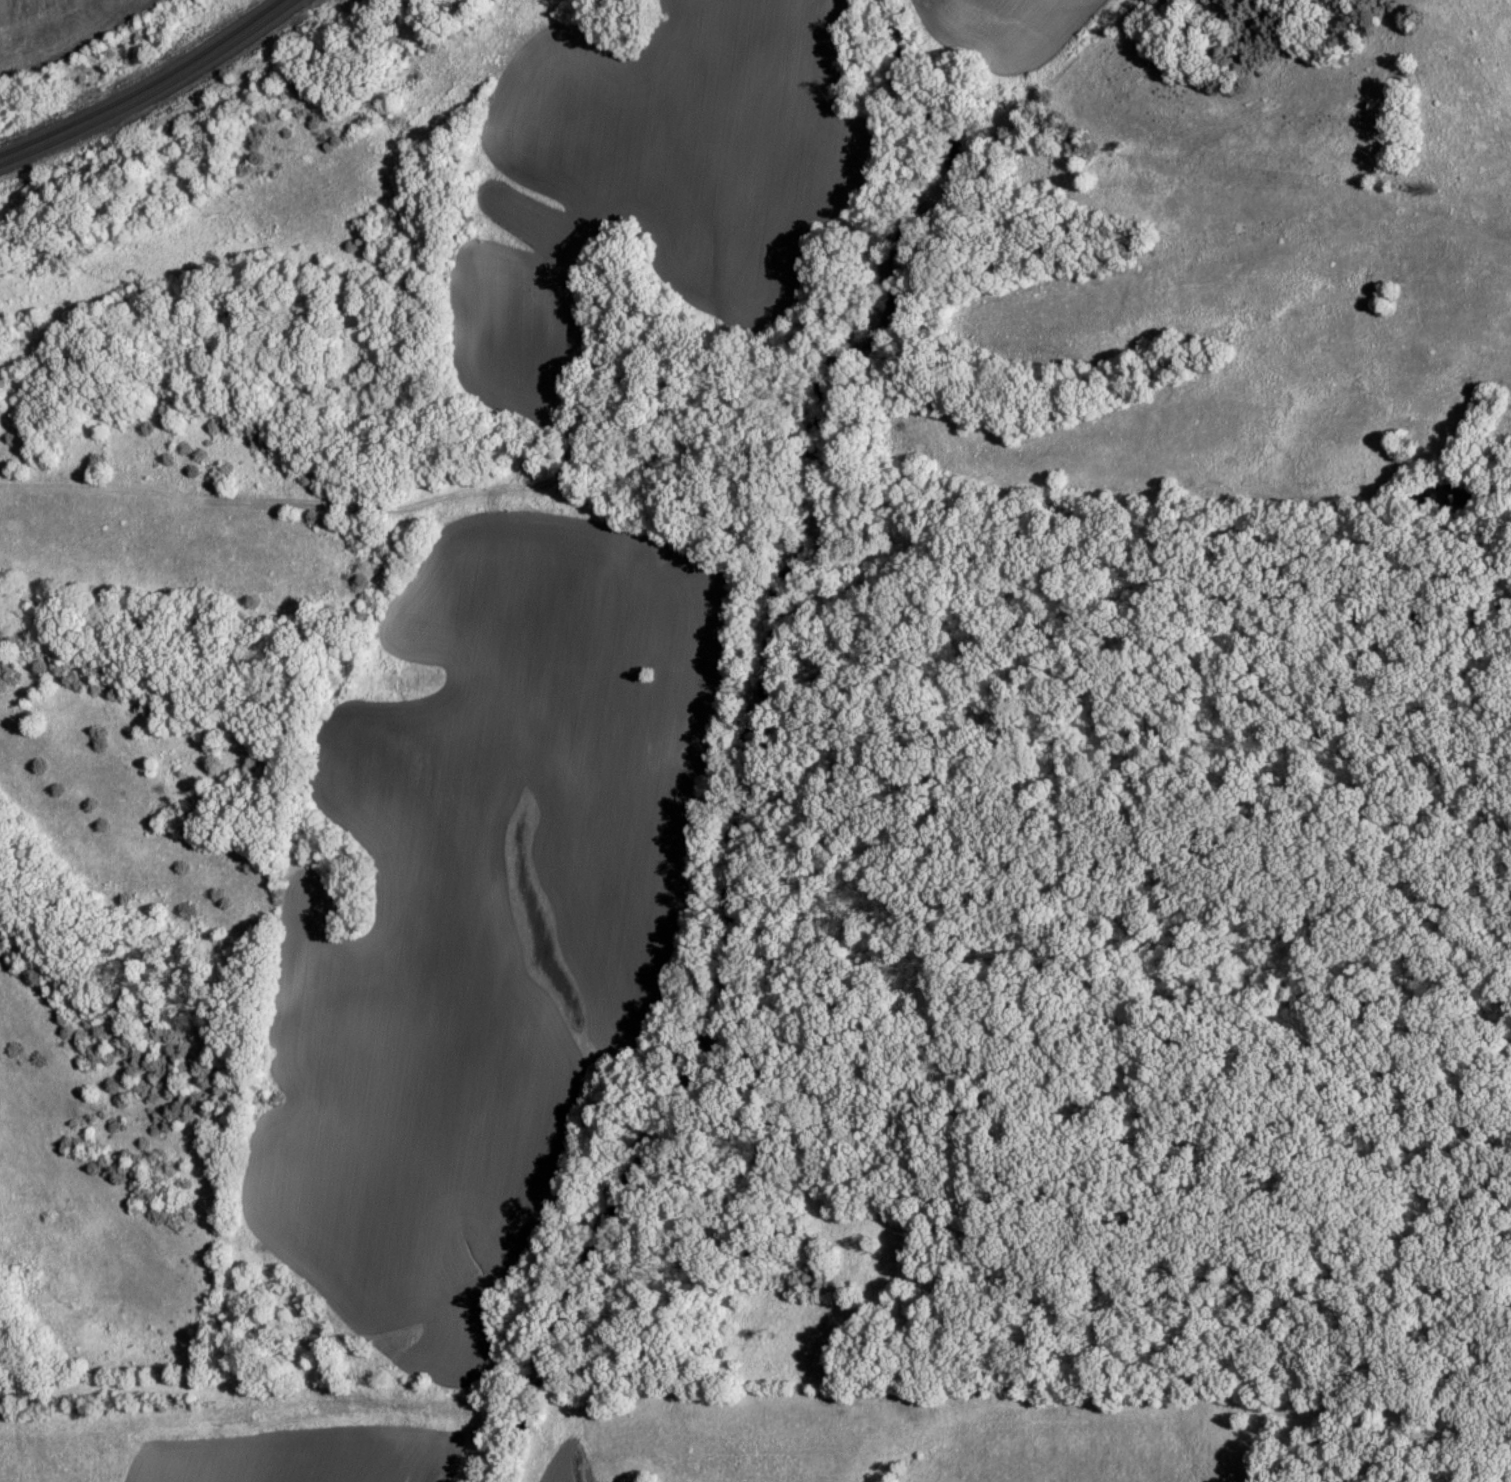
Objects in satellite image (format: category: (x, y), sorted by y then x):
railway: (146, 87)
railway: (156, 93)

